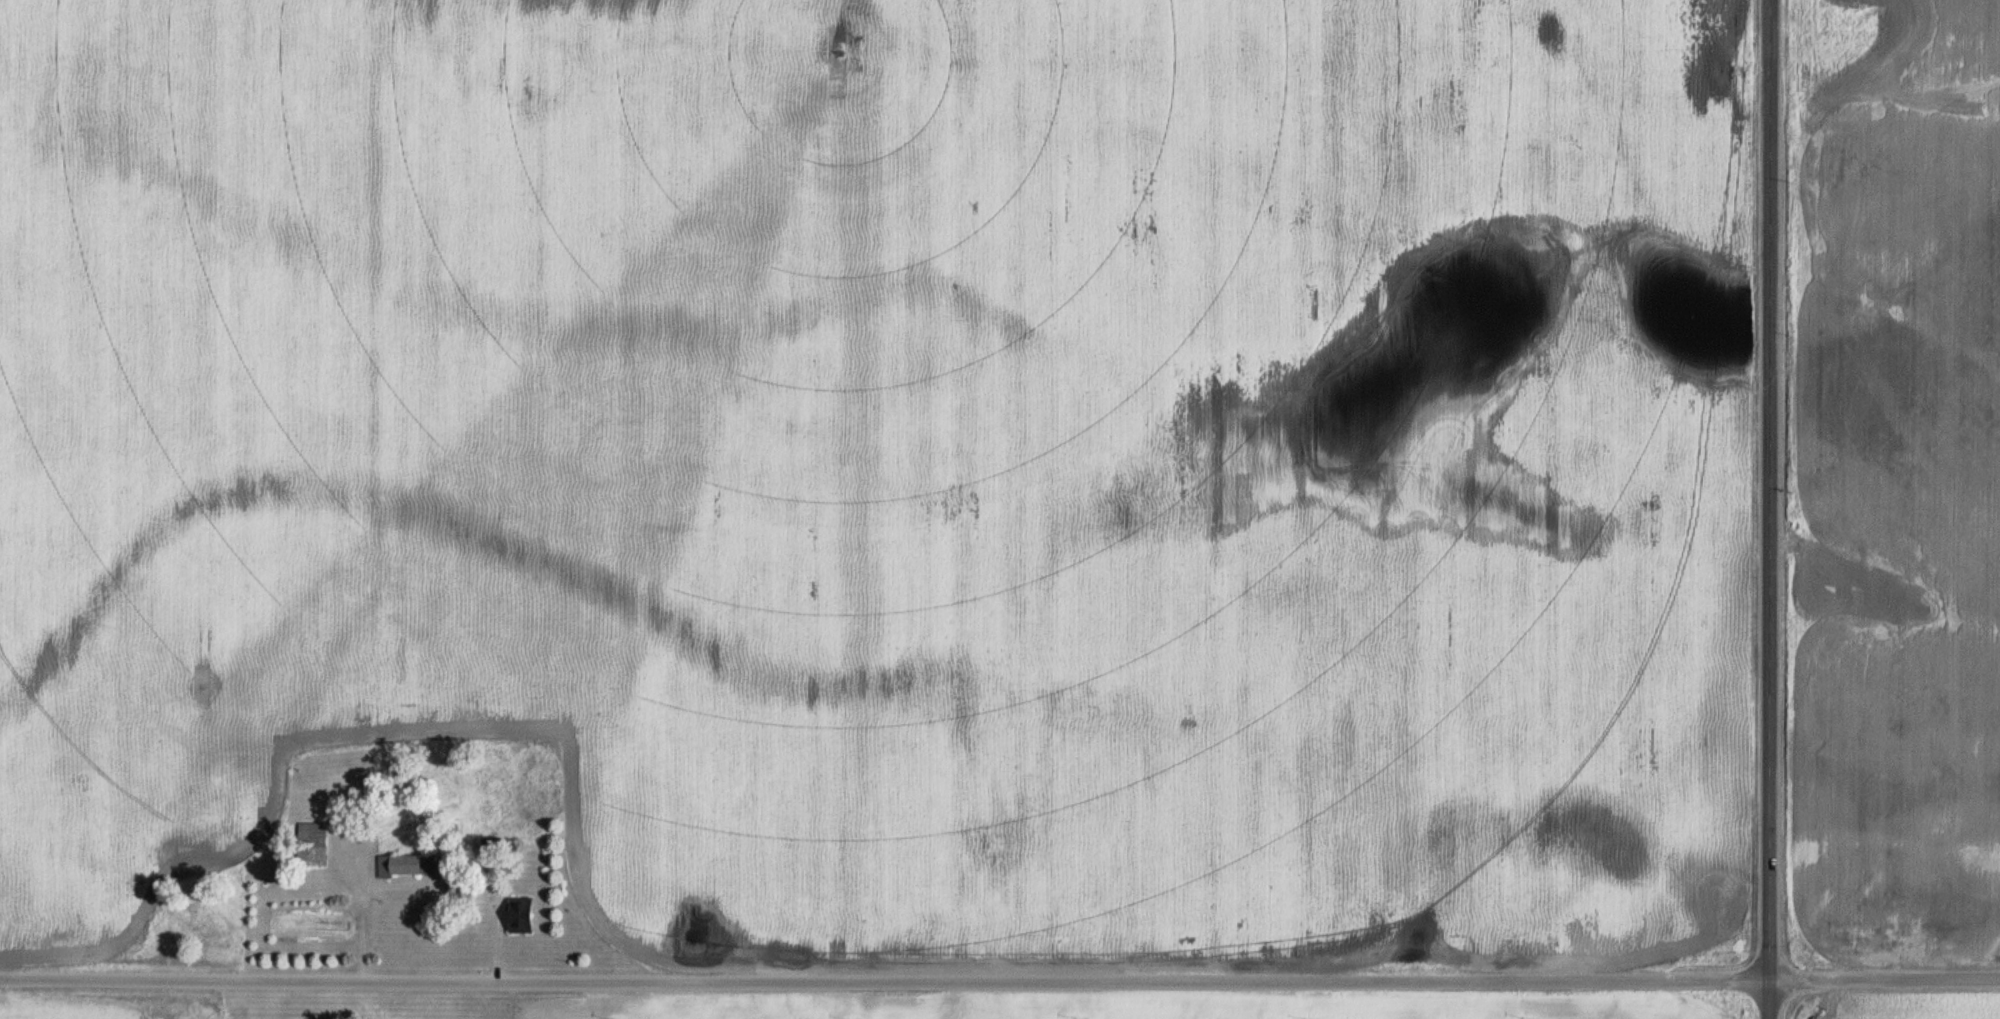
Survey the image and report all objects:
road: (1767, 509)
building: (310, 845)
building: (404, 867)
building: (518, 915)
road: (1000, 978)

